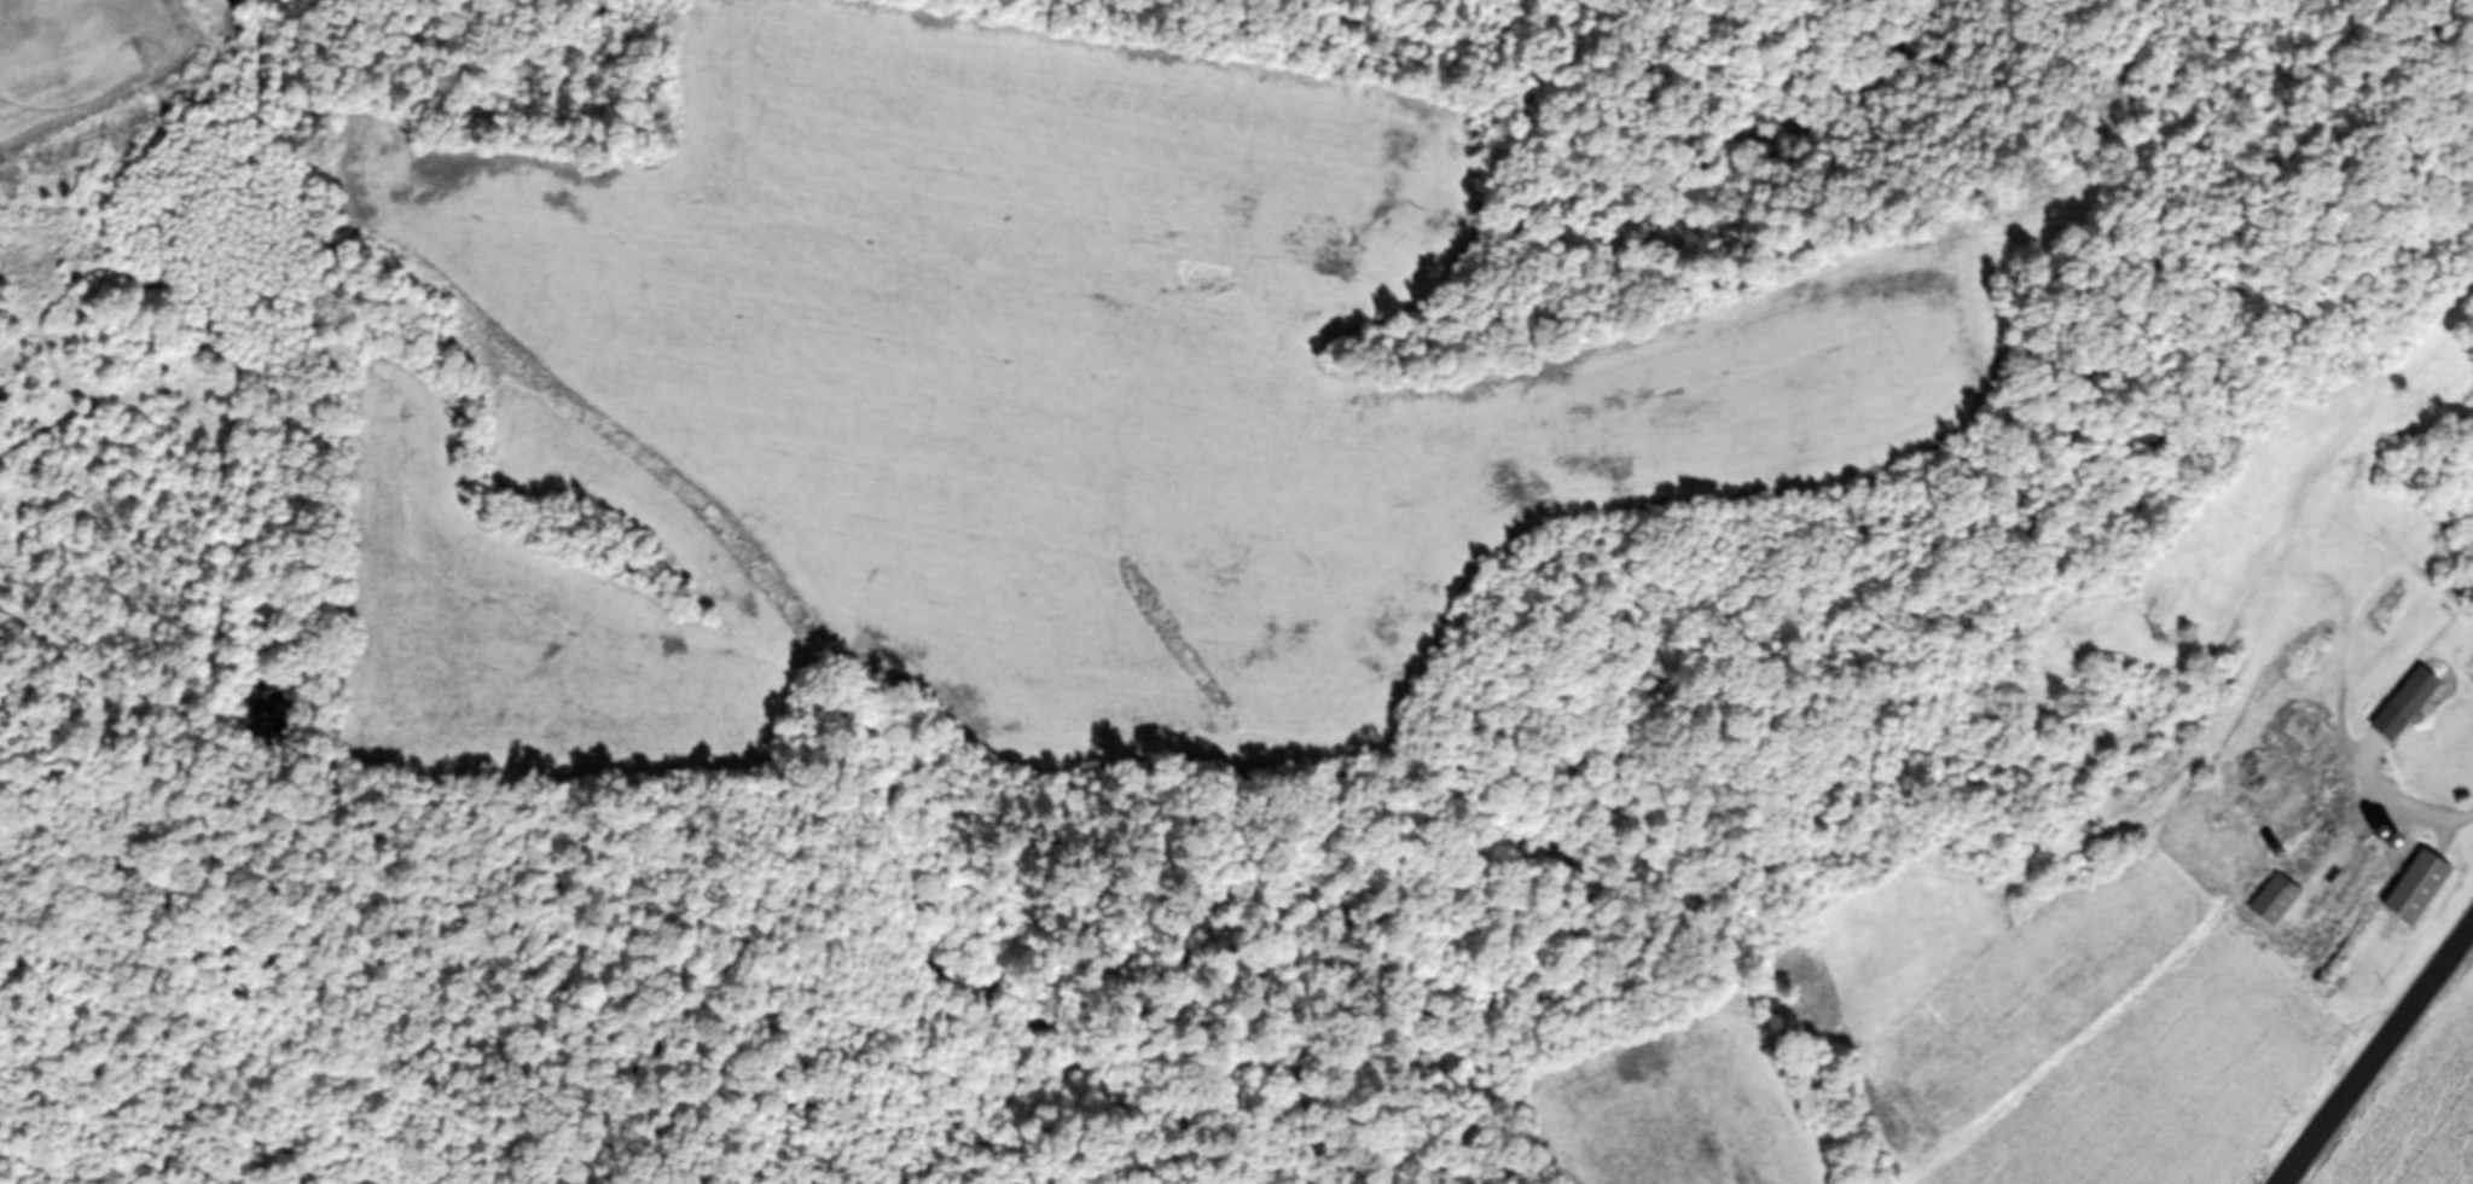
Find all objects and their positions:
building: (2294, 731)
building: (2462, 737)
building: (2408, 776)
building: (2266, 787)
road: (2393, 801)
building: (2291, 880)
building: (2415, 890)
road: (2379, 1052)

